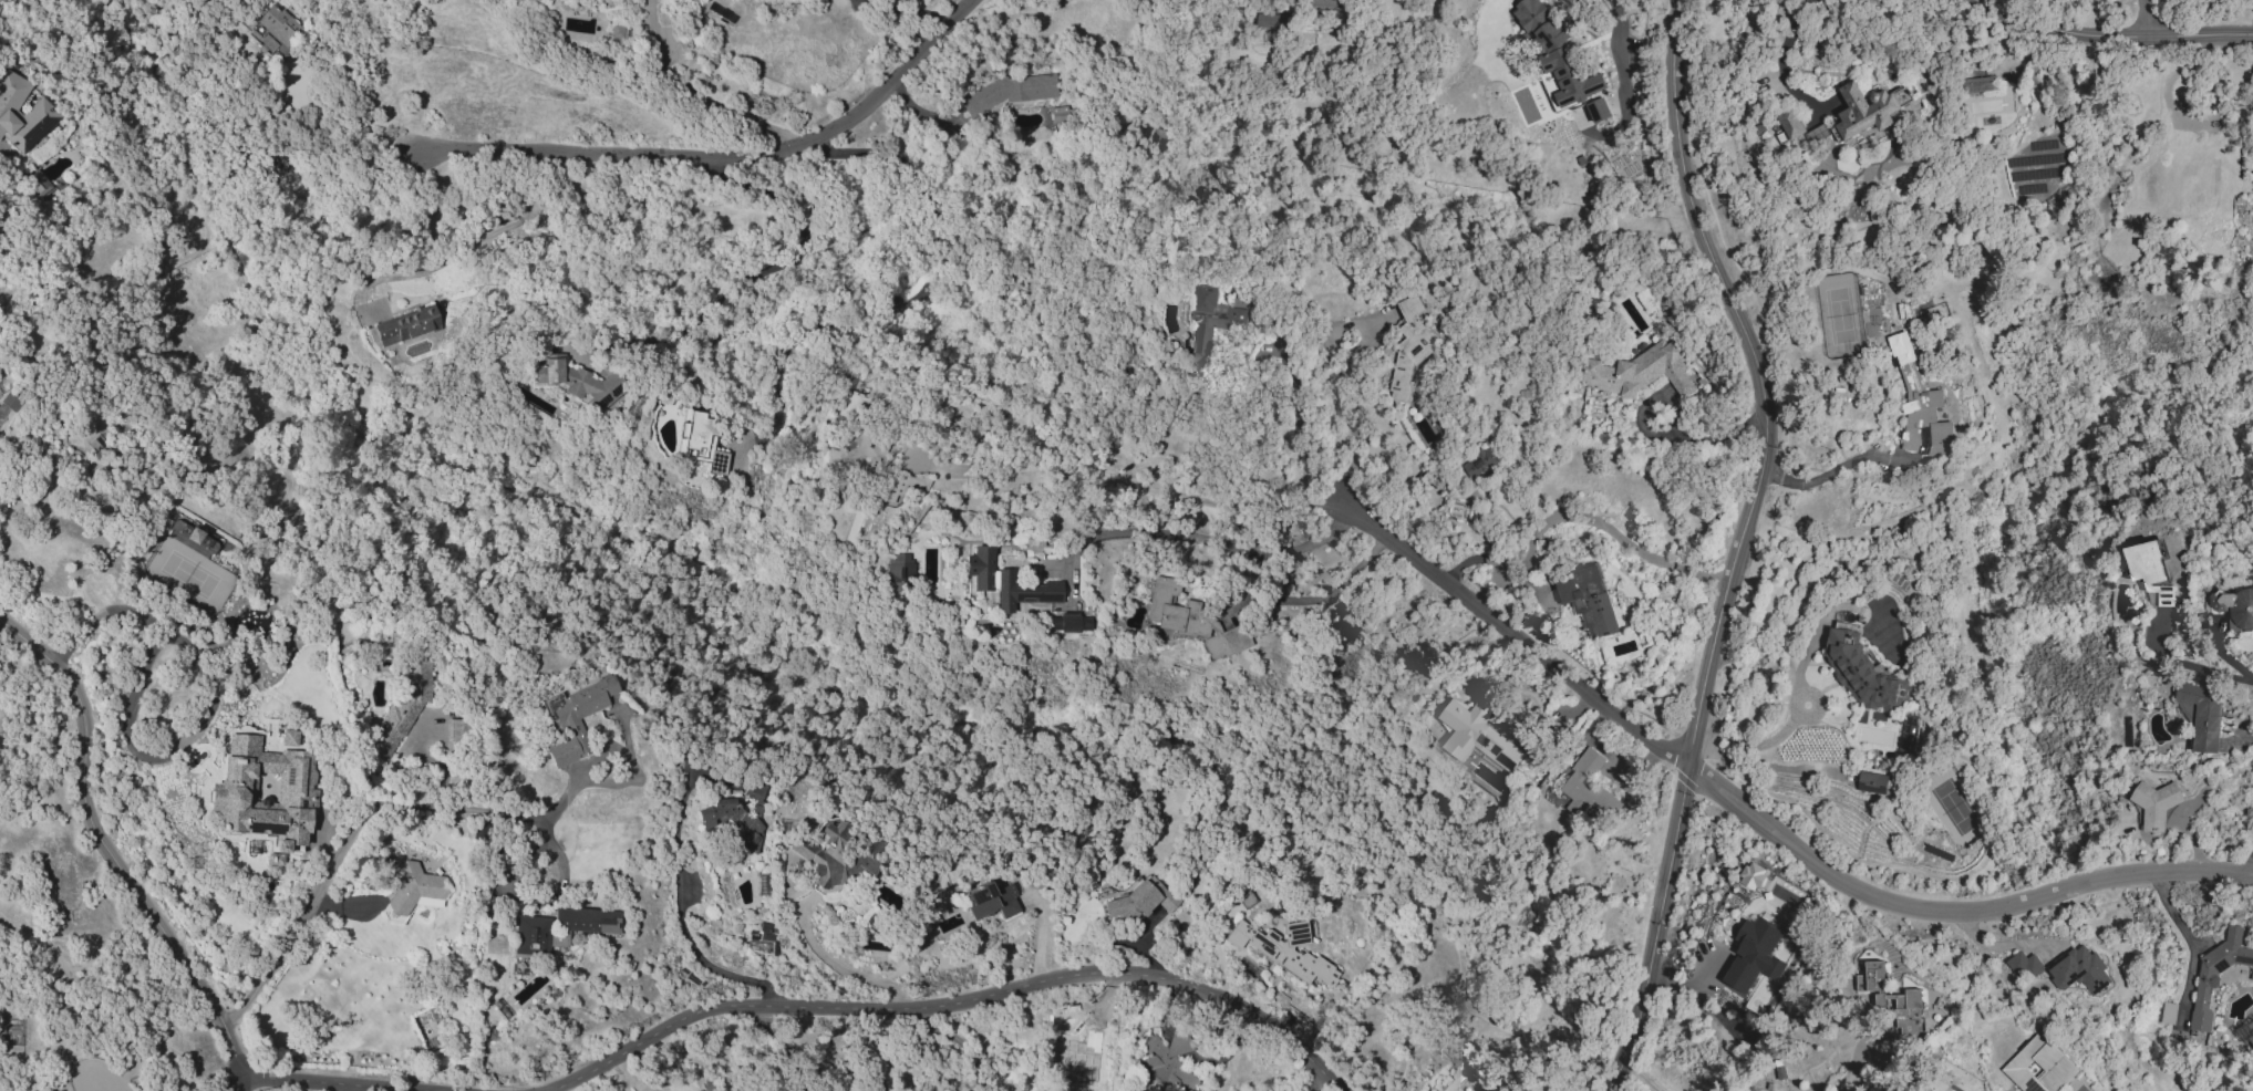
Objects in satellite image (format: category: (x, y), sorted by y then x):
building: (1325, 3)
road: (2148, 18)
building: (1271, 22)
building: (273, 30)
road: (2109, 33)
building: (1557, 54)
road: (1780, 59)
road: (2170, 74)
building: (1009, 91)
road: (693, 103)
building: (1868, 110)
building: (1599, 111)
building: (21, 113)
building: (1790, 123)
road: (344, 127)
building: (1816, 134)
road: (722, 156)
building: (2185, 170)
building: (2037, 175)
building: (38, 184)
road: (477, 240)
building: (2121, 249)
building: (1212, 320)
building: (404, 324)
building: (1409, 349)
building: (1639, 372)
building: (575, 381)
building: (12, 402)
building: (848, 403)
road: (1298, 405)
road: (1347, 406)
building: (1920, 408)
road: (1658, 435)
building: (696, 440)
building: (1479, 464)
road: (1825, 476)
road: (1123, 495)
building: (192, 534)
road: (1199, 536)
road: (1739, 544)
road: (1495, 563)
building: (899, 567)
road: (712, 572)
building: (2149, 573)
building: (1004, 581)
road: (1316, 599)
building: (1589, 601)
building: (2234, 609)
building: (1190, 620)
building: (1072, 622)
road: (2190, 667)
building: (1860, 673)
road: (208, 705)
building: (400, 710)
building: (2203, 716)
building: (573, 718)
building: (455, 730)
building: (1476, 735)
building: (288, 737)
road: (1758, 745)
building: (1874, 783)
building: (1588, 790)
building: (263, 792)
building: (755, 796)
building: (2156, 804)
building: (731, 820)
road: (1757, 820)
road: (351, 833)
road: (111, 852)
building: (833, 856)
building: (1753, 875)
building: (1244, 897)
building: (1139, 898)
building: (991, 901)
building: (556, 931)
road: (686, 939)
road: (2189, 944)
building: (1284, 954)
building: (1755, 955)
building: (2024, 965)
road: (844, 970)
building: (2080, 970)
building: (2207, 977)
building: (1892, 999)
road: (950, 1001)
building: (2251, 1038)
road: (960, 1041)
road: (785, 1045)
building: (1072, 1056)
building: (1170, 1061)
road: (1856, 1062)
building: (2038, 1067)
road: (1639, 1076)
road: (314, 1085)
building: (1496, 1089)

